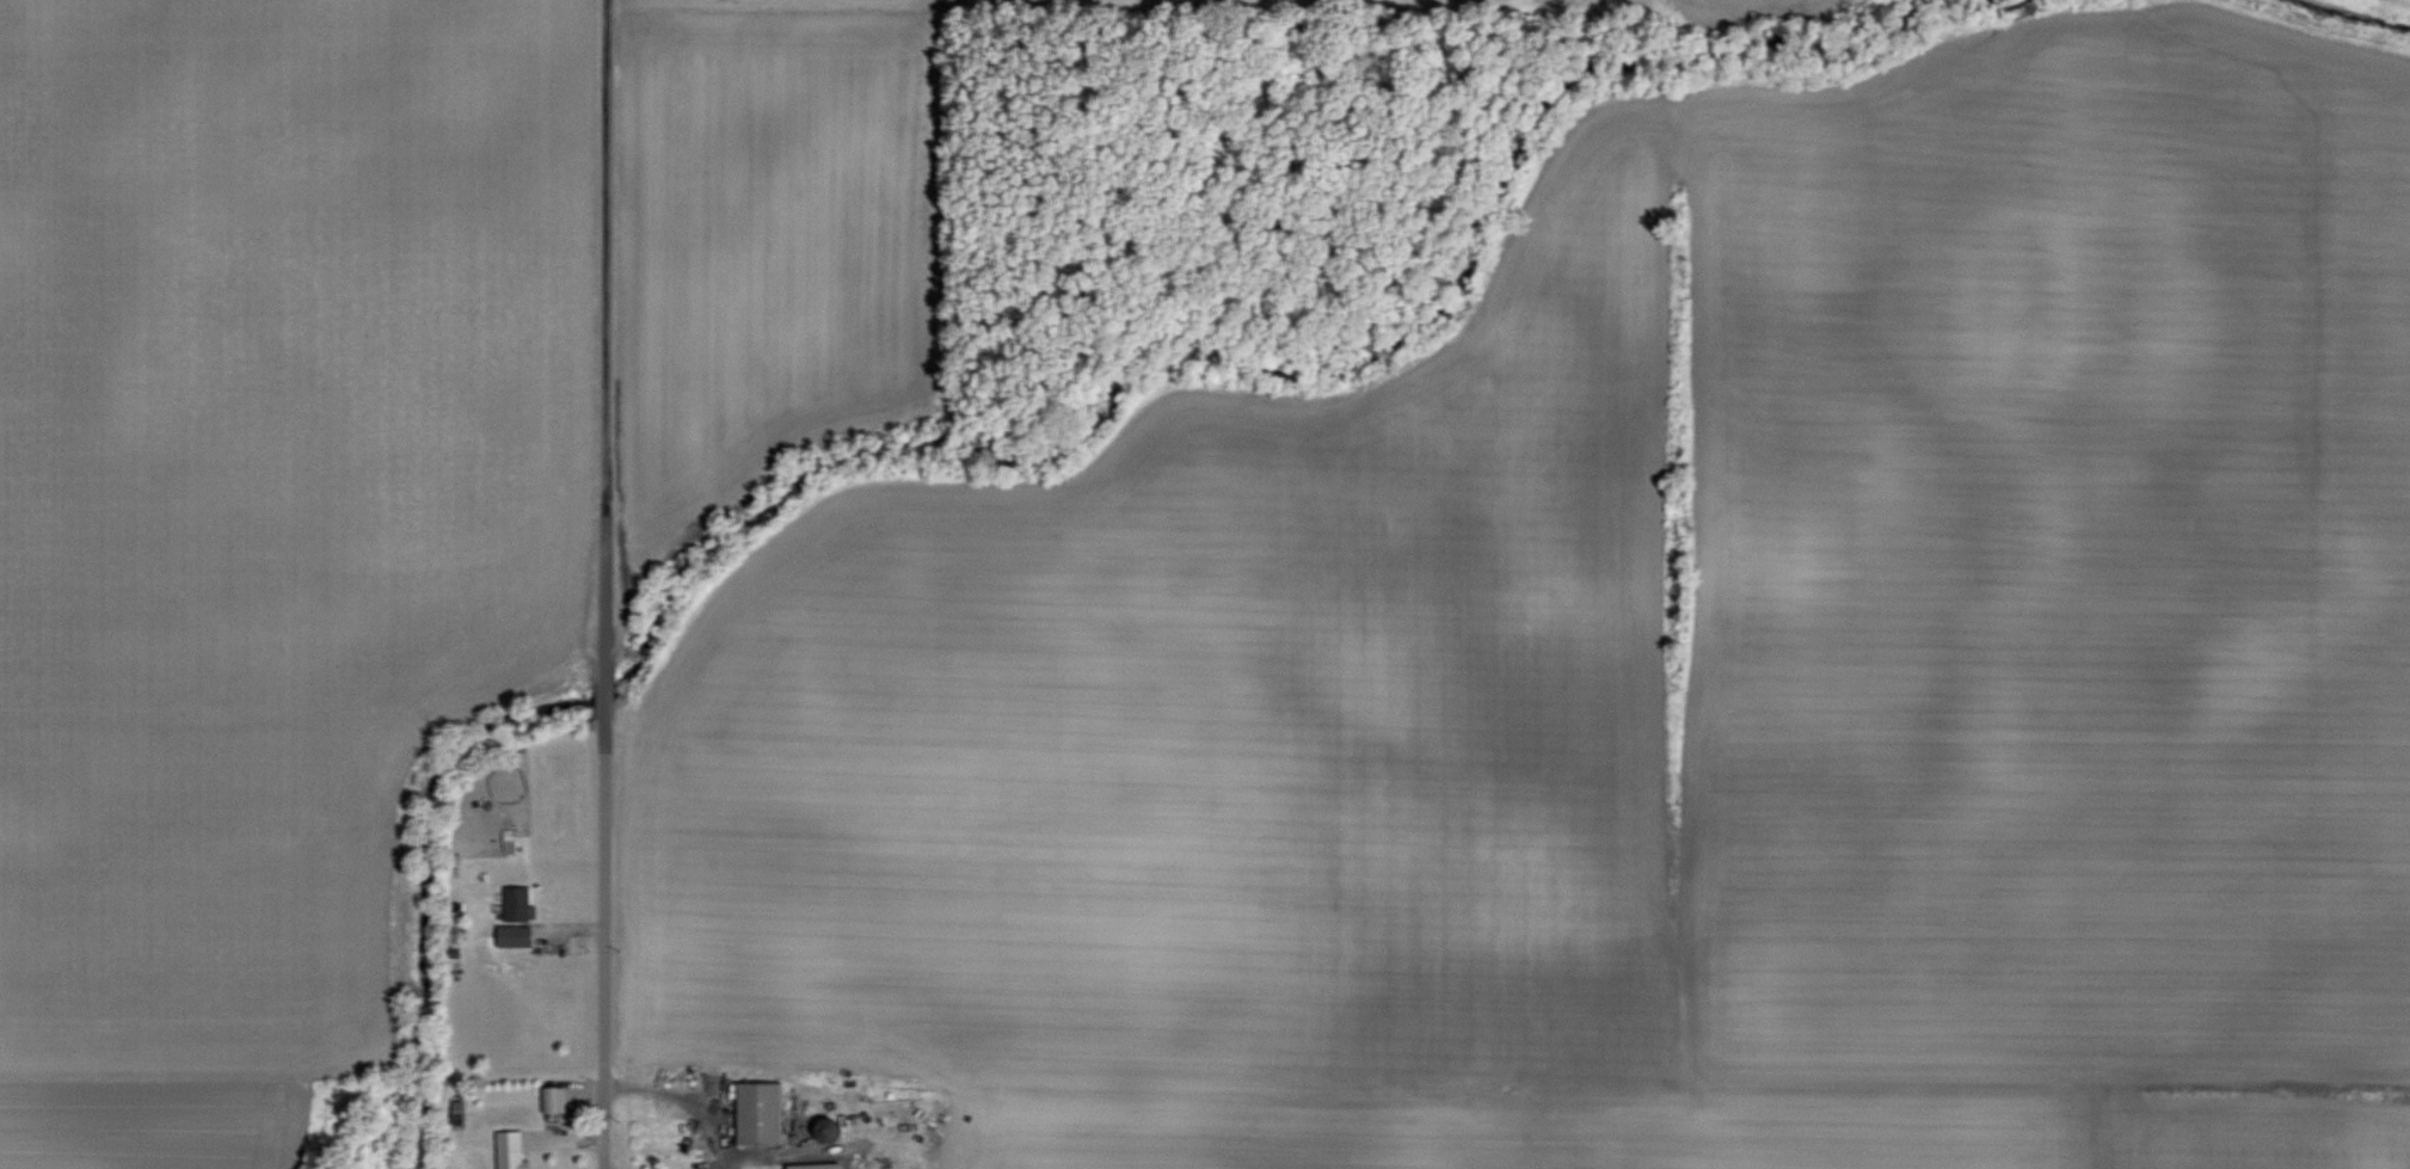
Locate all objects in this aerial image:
road: (597, 584)
road: (690, 1093)

